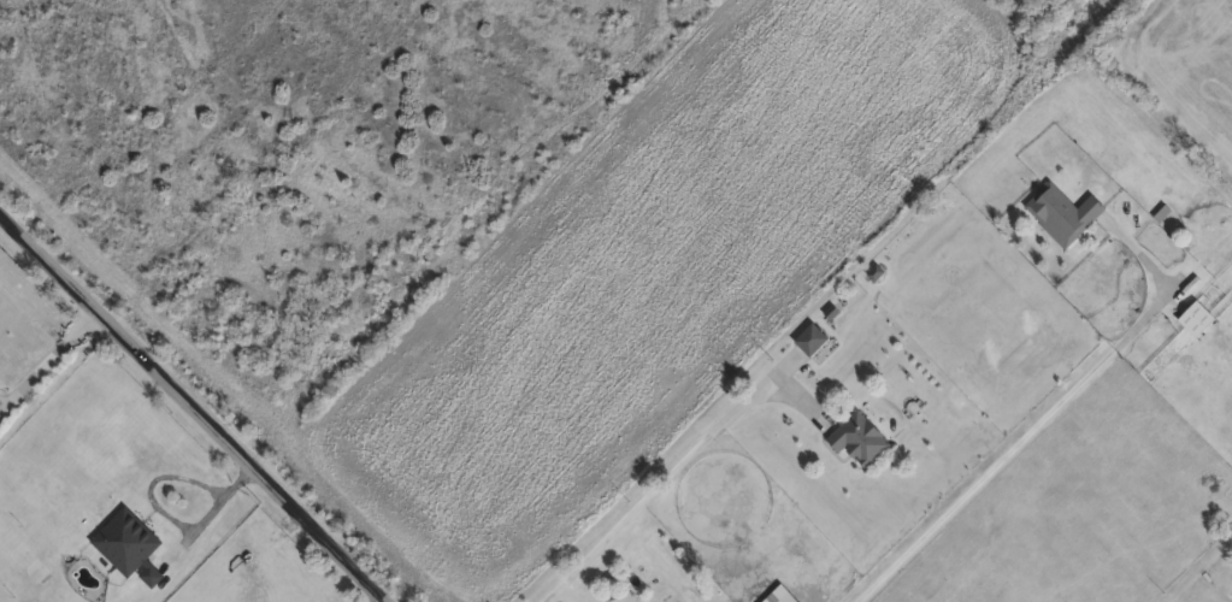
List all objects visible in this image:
building: (1061, 212)
building: (1195, 318)
building: (809, 338)
road: (48, 358)
road: (196, 402)
building: (859, 441)
road: (1008, 450)
road: (654, 489)
road: (169, 518)
building: (128, 545)
building: (778, 595)

